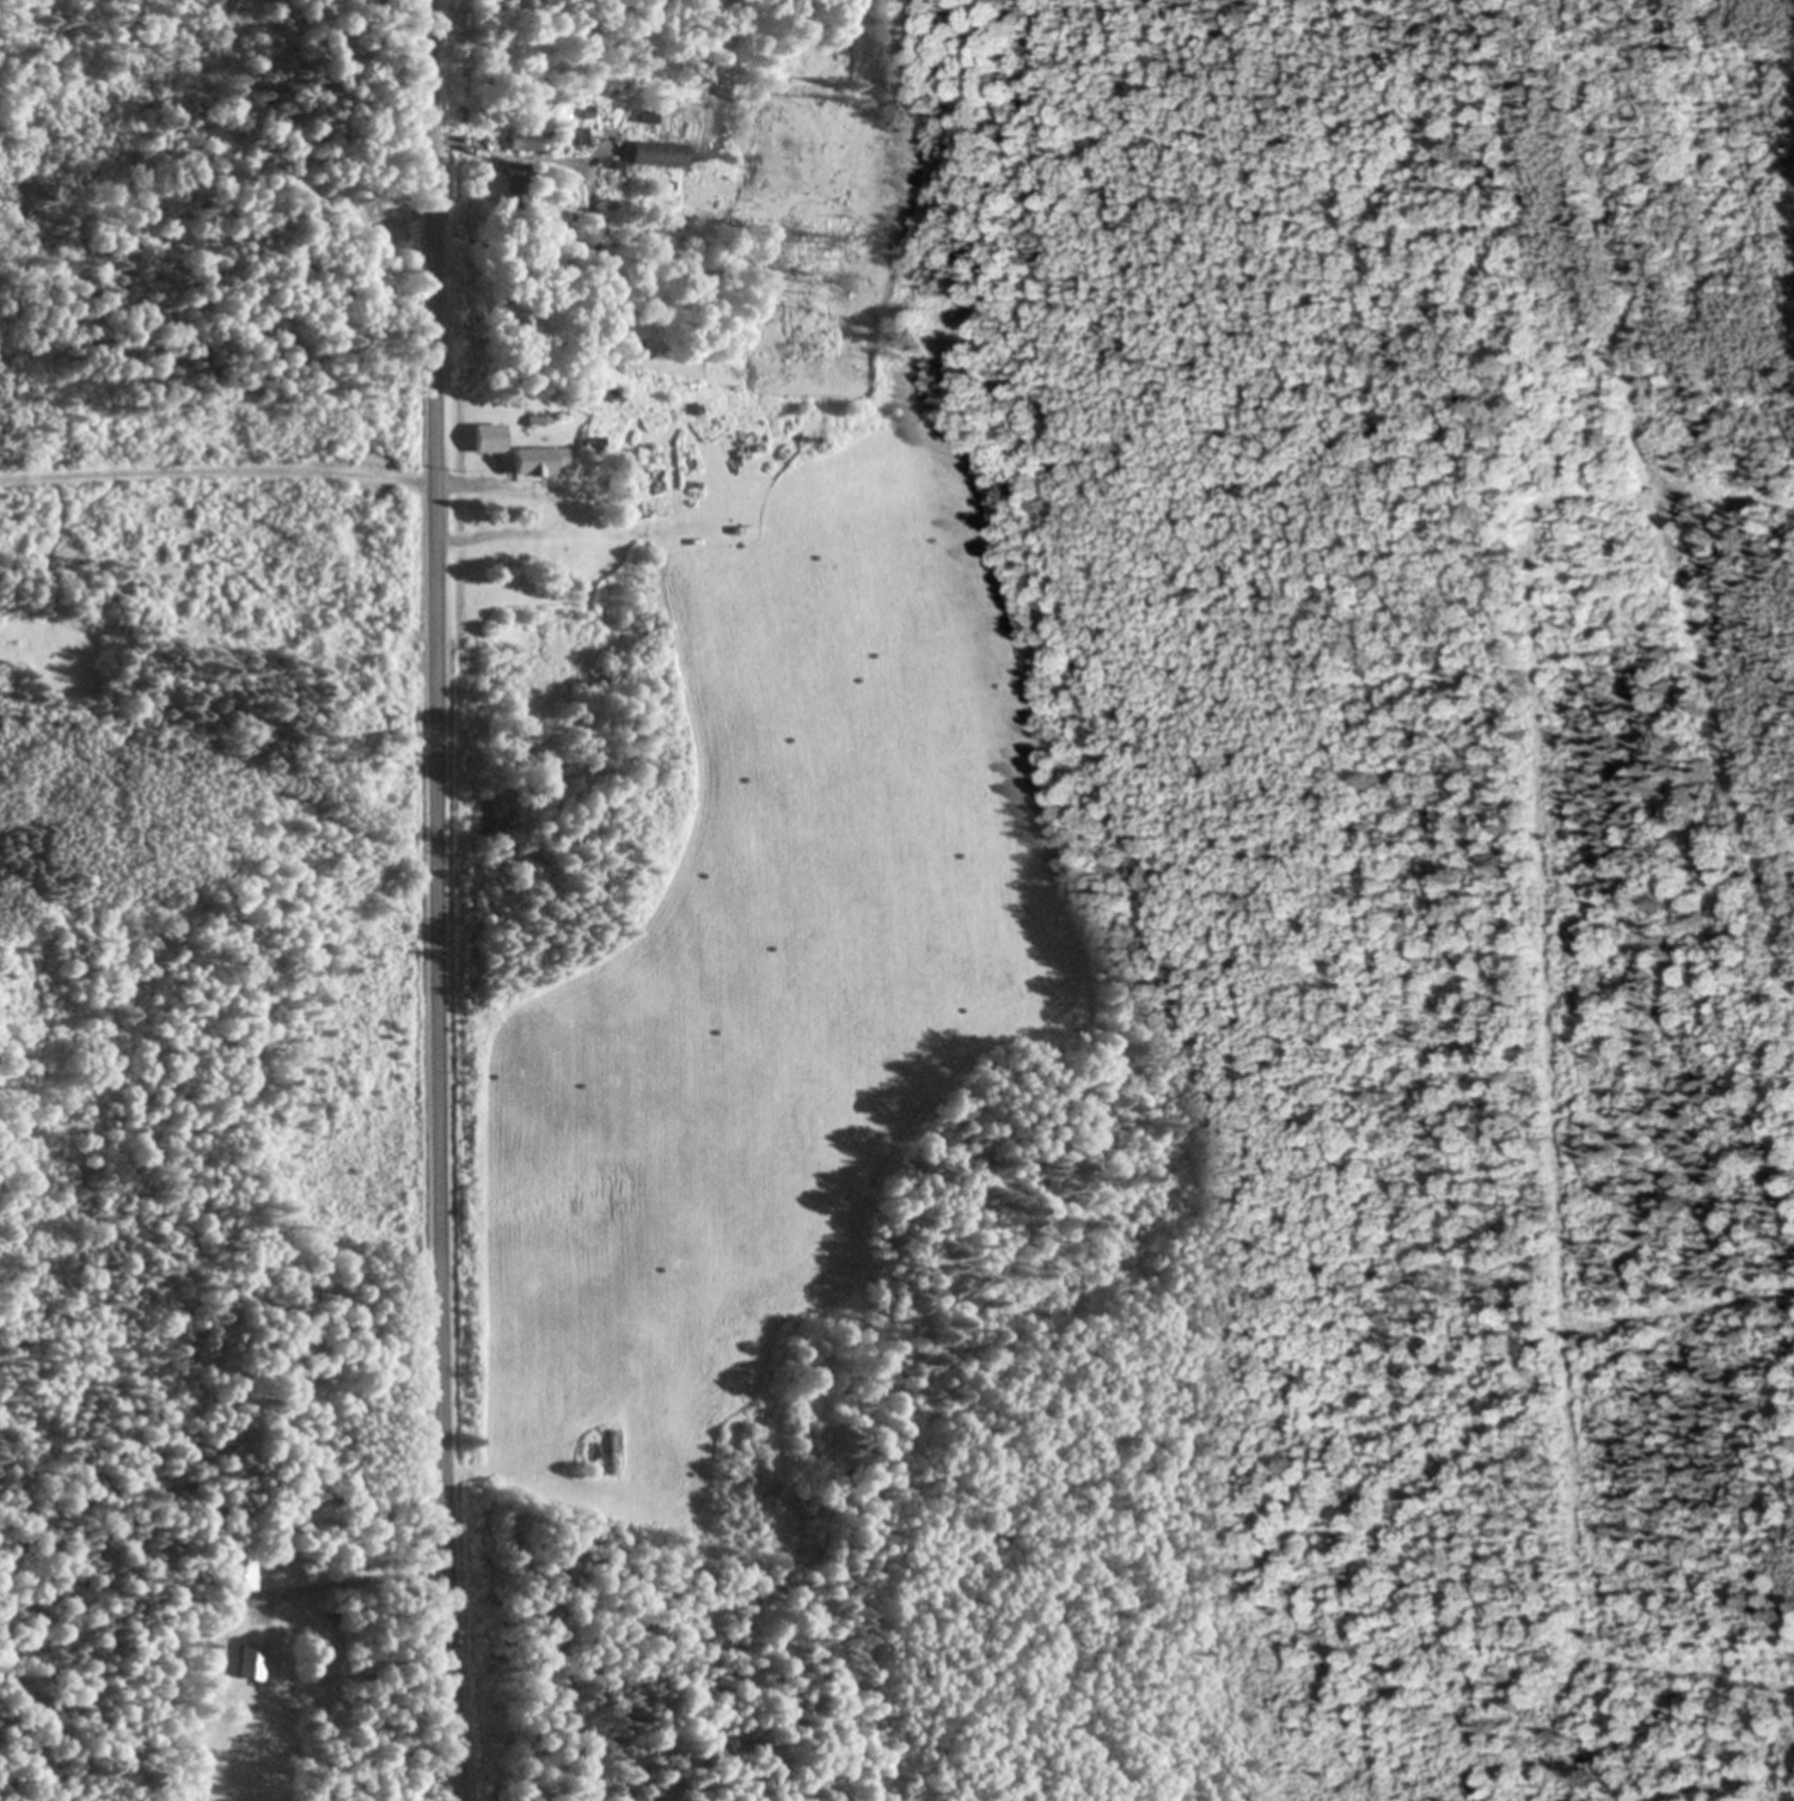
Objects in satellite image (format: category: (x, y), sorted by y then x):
building: (647, 117)
building: (521, 139)
road: (448, 140)
building: (656, 154)
building: (516, 184)
building: (485, 439)
building: (533, 462)
road: (214, 471)
road: (455, 486)
road: (430, 900)
building: (610, 1452)
building: (235, 1573)
road: (353, 1583)
building: (245, 1661)

